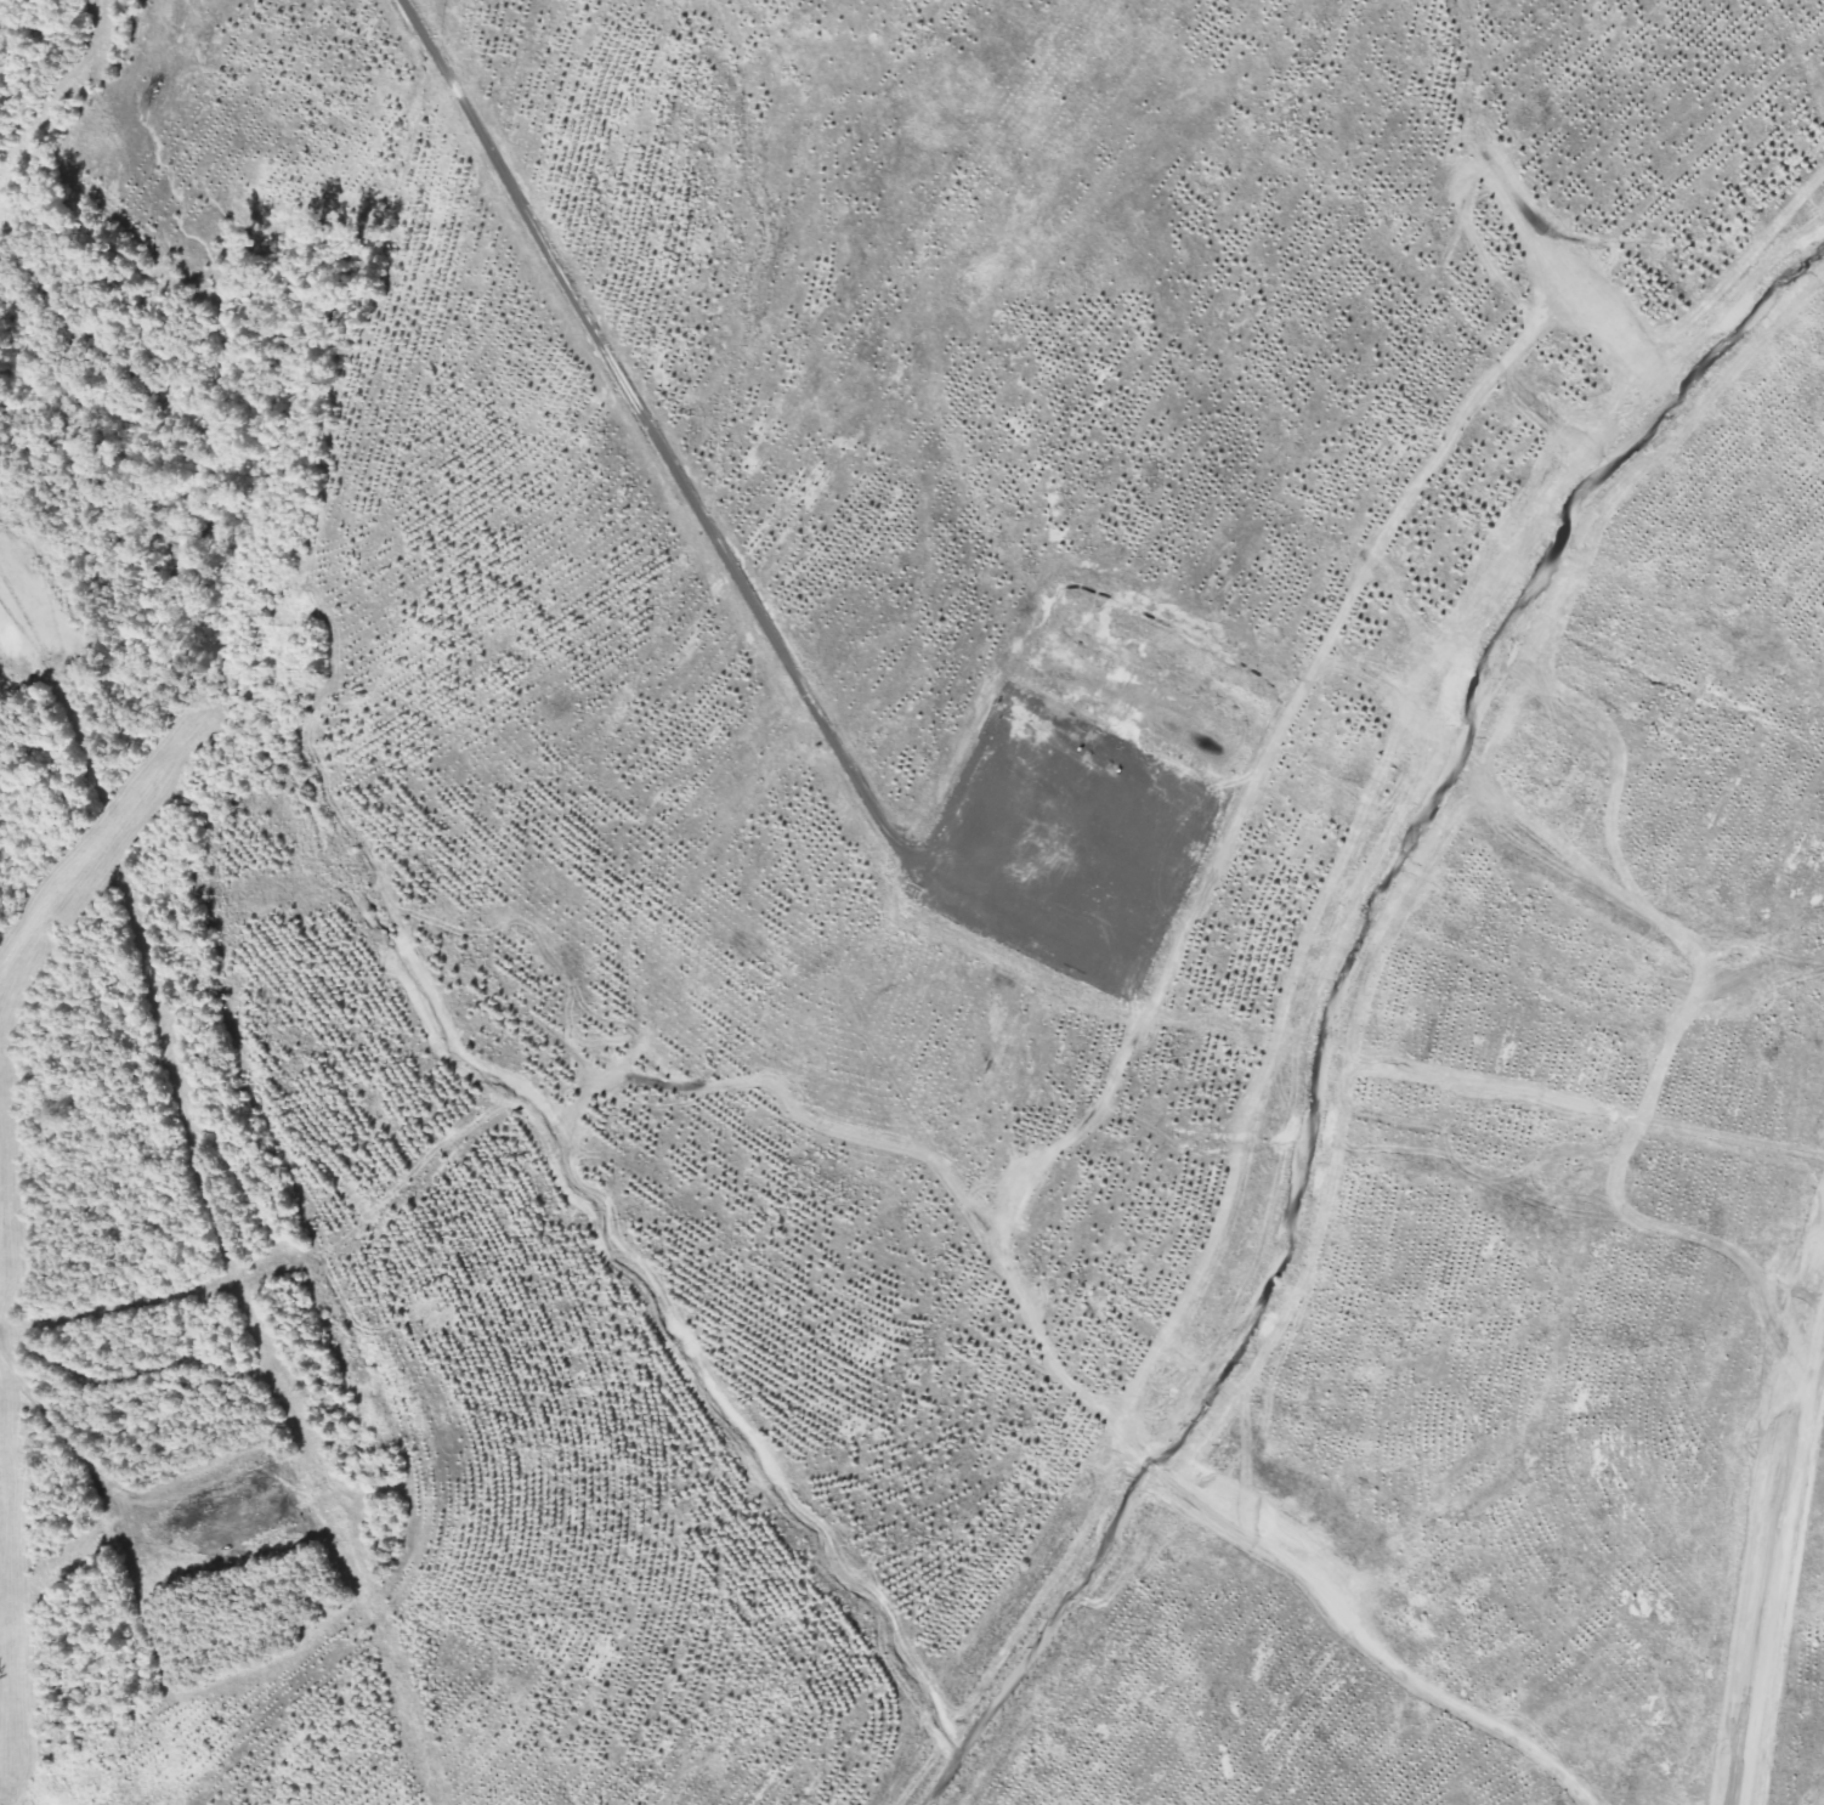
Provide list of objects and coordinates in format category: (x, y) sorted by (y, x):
road: (1703, 1539)

